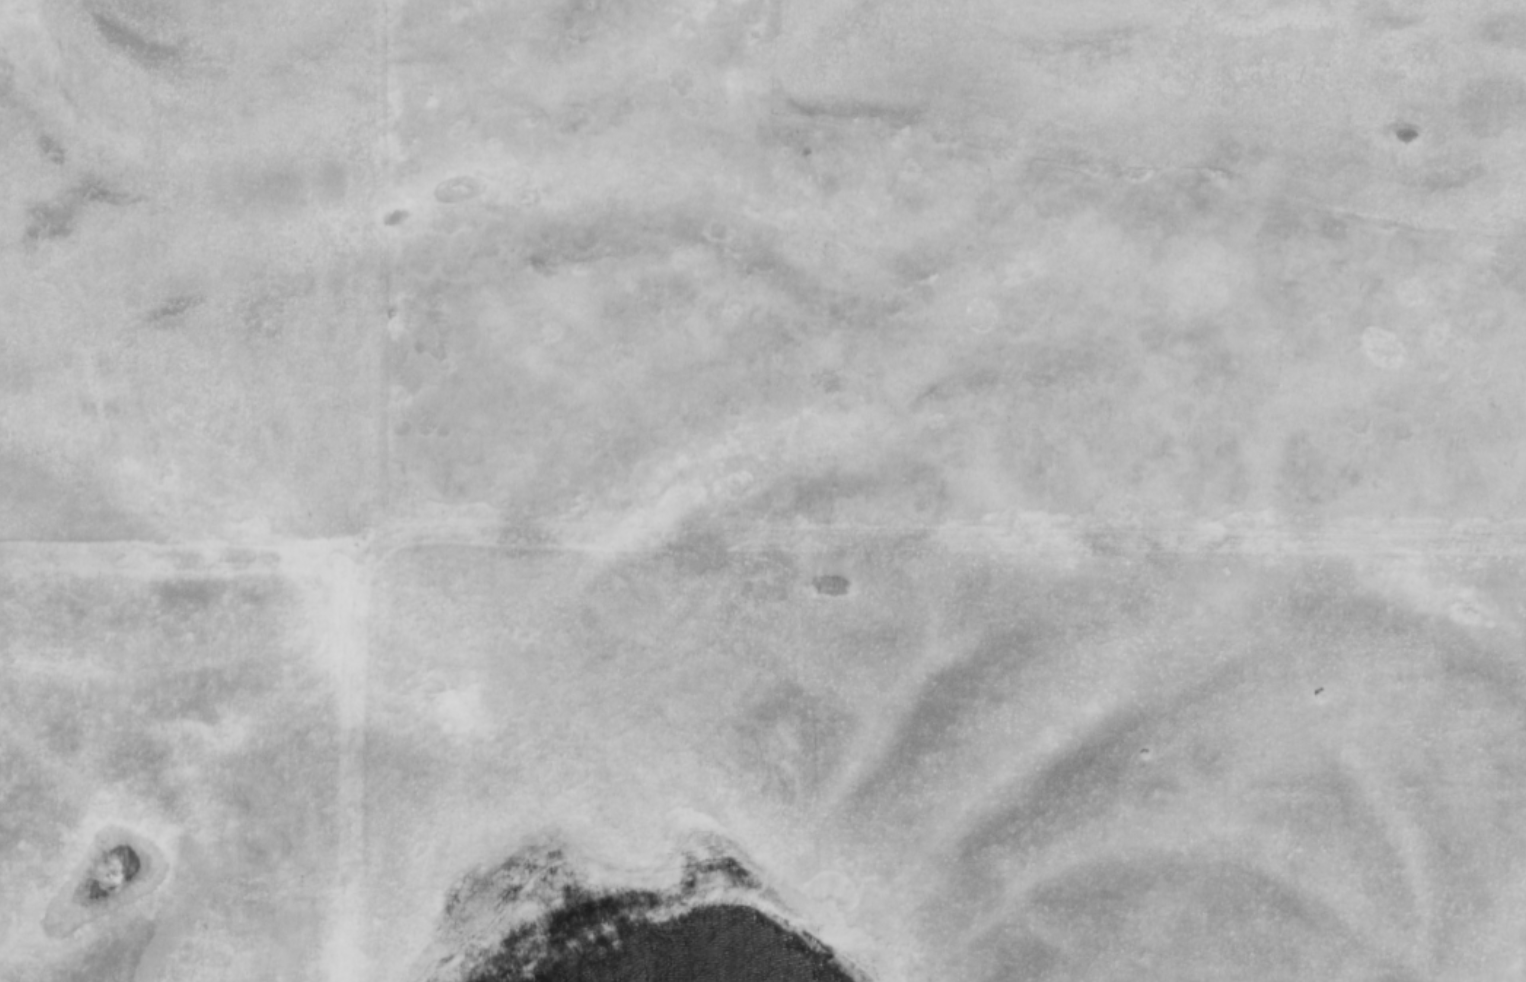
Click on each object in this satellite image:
road: (215, 560)

